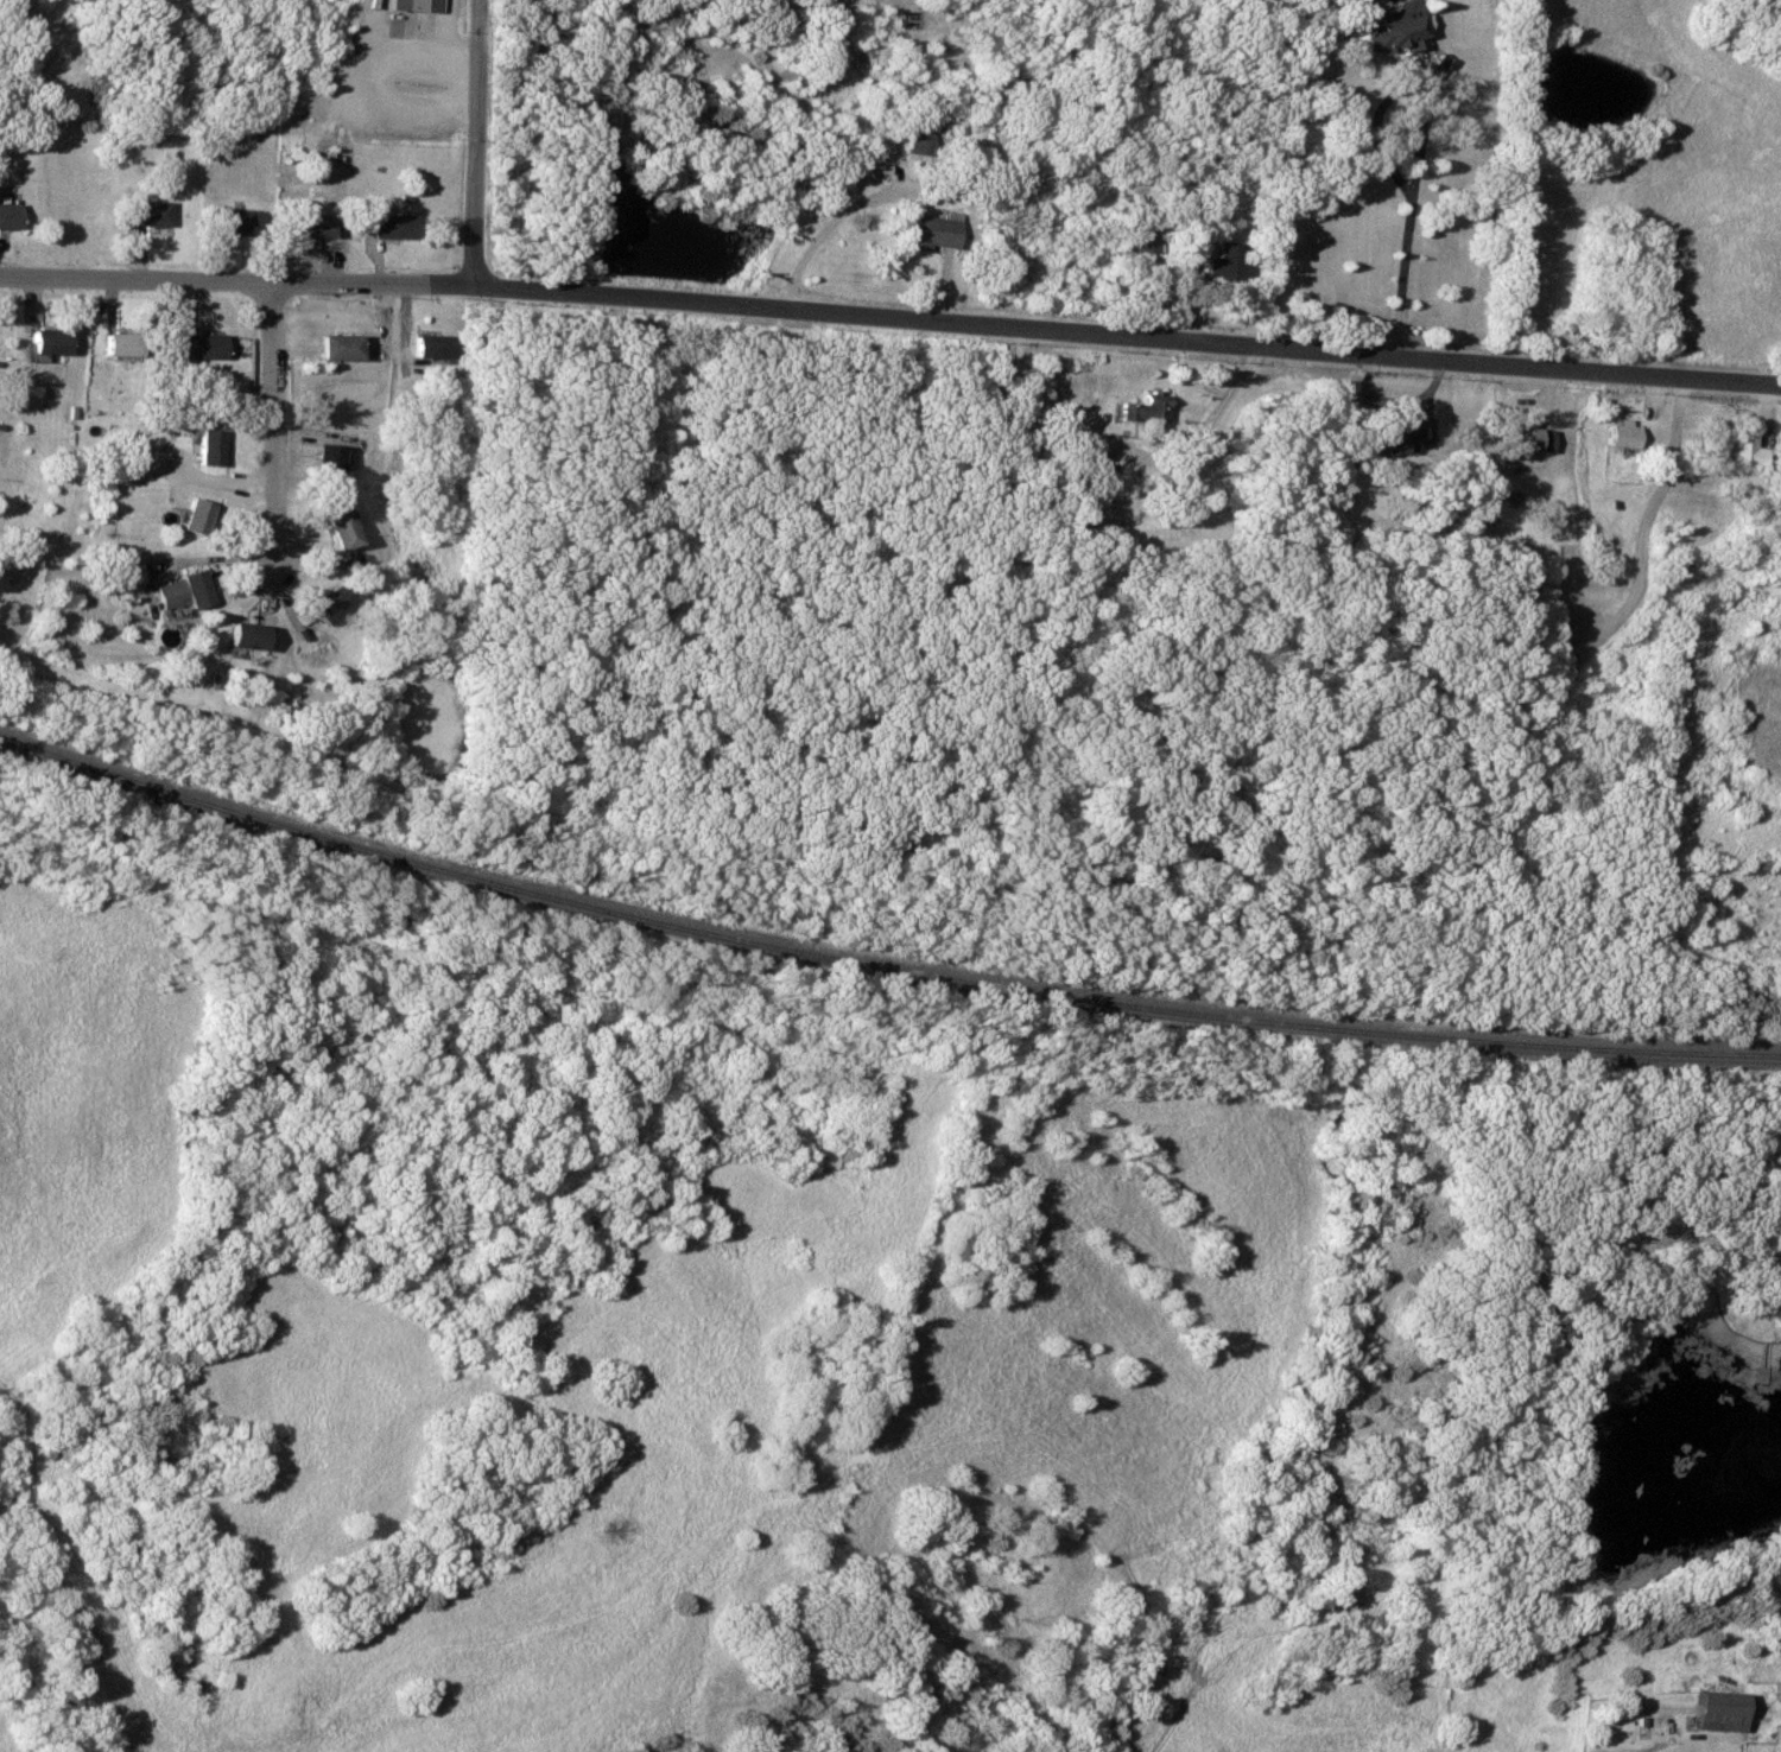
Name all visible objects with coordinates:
building: (412, 6)
building: (1386, 28)
building: (921, 134)
road: (480, 144)
building: (147, 212)
building: (7, 216)
building: (234, 221)
building: (309, 226)
building: (391, 227)
building: (930, 230)
building: (1147, 240)
building: (1229, 262)
road: (890, 317)
building: (42, 339)
building: (116, 343)
building: (191, 344)
building: (332, 344)
building: (429, 345)
building: (1143, 412)
road: (271, 423)
building: (1620, 434)
building: (1392, 438)
building: (1544, 439)
building: (1520, 442)
building: (208, 446)
building: (1741, 449)
building: (319, 459)
building: (194, 515)
building: (334, 528)
building: (126, 572)
building: (178, 590)
building: (322, 604)
building: (240, 634)
railway: (879, 959)
building: (1773, 1267)
building: (1715, 1710)

